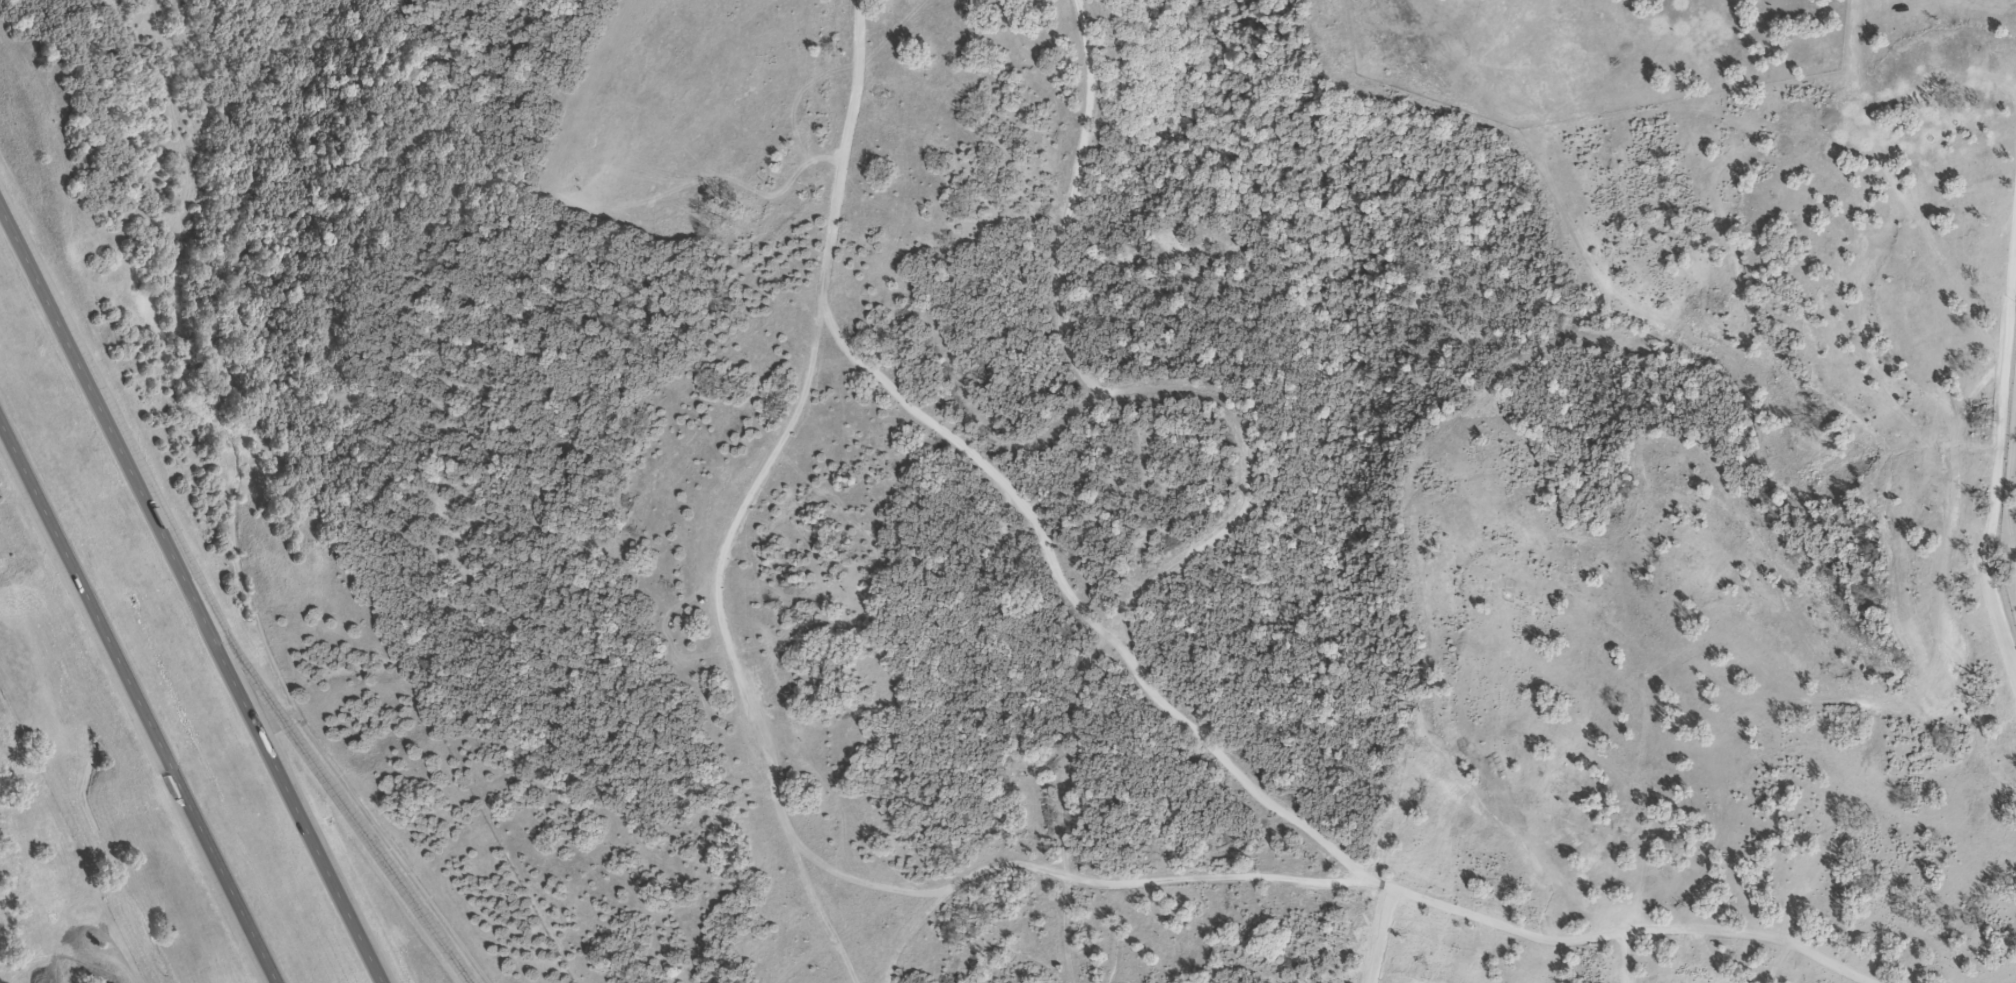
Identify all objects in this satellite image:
road: (189, 598)
road: (139, 698)
road: (297, 736)

